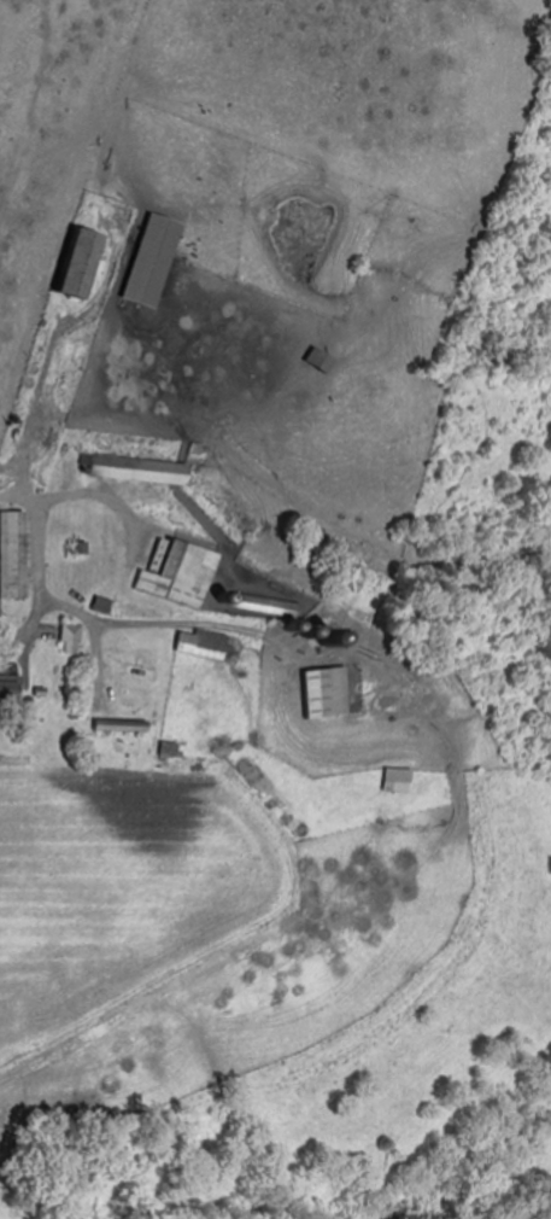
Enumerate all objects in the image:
building: (159, 259)
building: (90, 262)
building: (327, 358)
building: (141, 468)
road: (275, 521)
building: (16, 554)
building: (177, 571)
road: (42, 583)
building: (74, 638)
building: (205, 645)
building: (11, 684)
building: (328, 693)
building: (124, 724)
building: (172, 748)
building: (399, 780)

